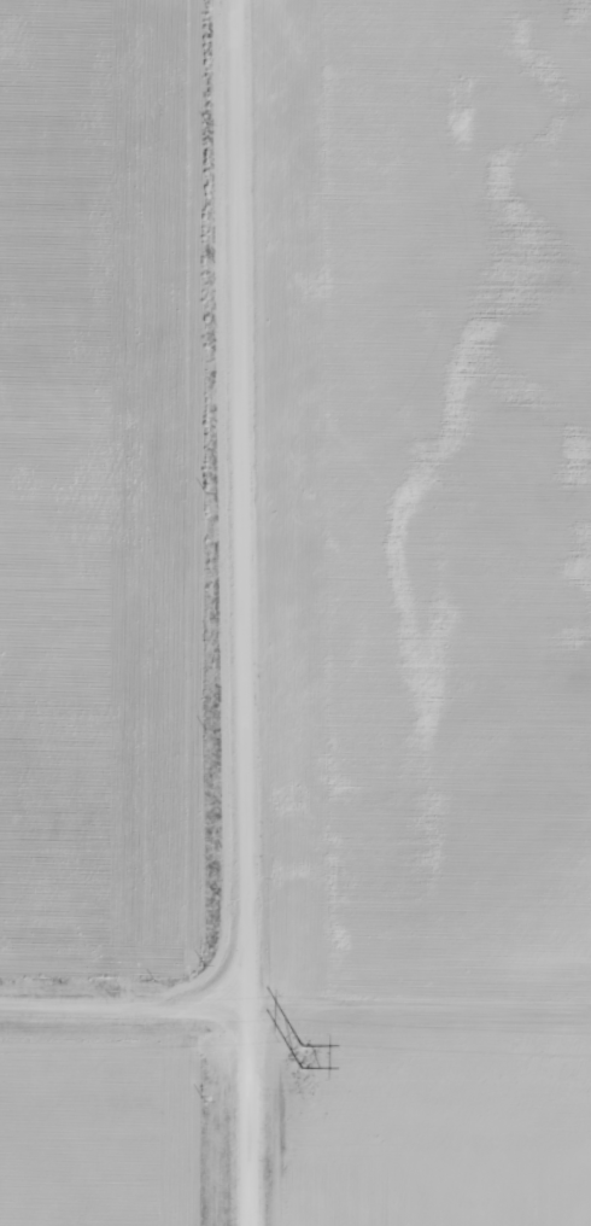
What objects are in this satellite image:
road: (238, 612)
road: (193, 957)
road: (75, 997)
road: (192, 998)
power tower: (292, 1043)

